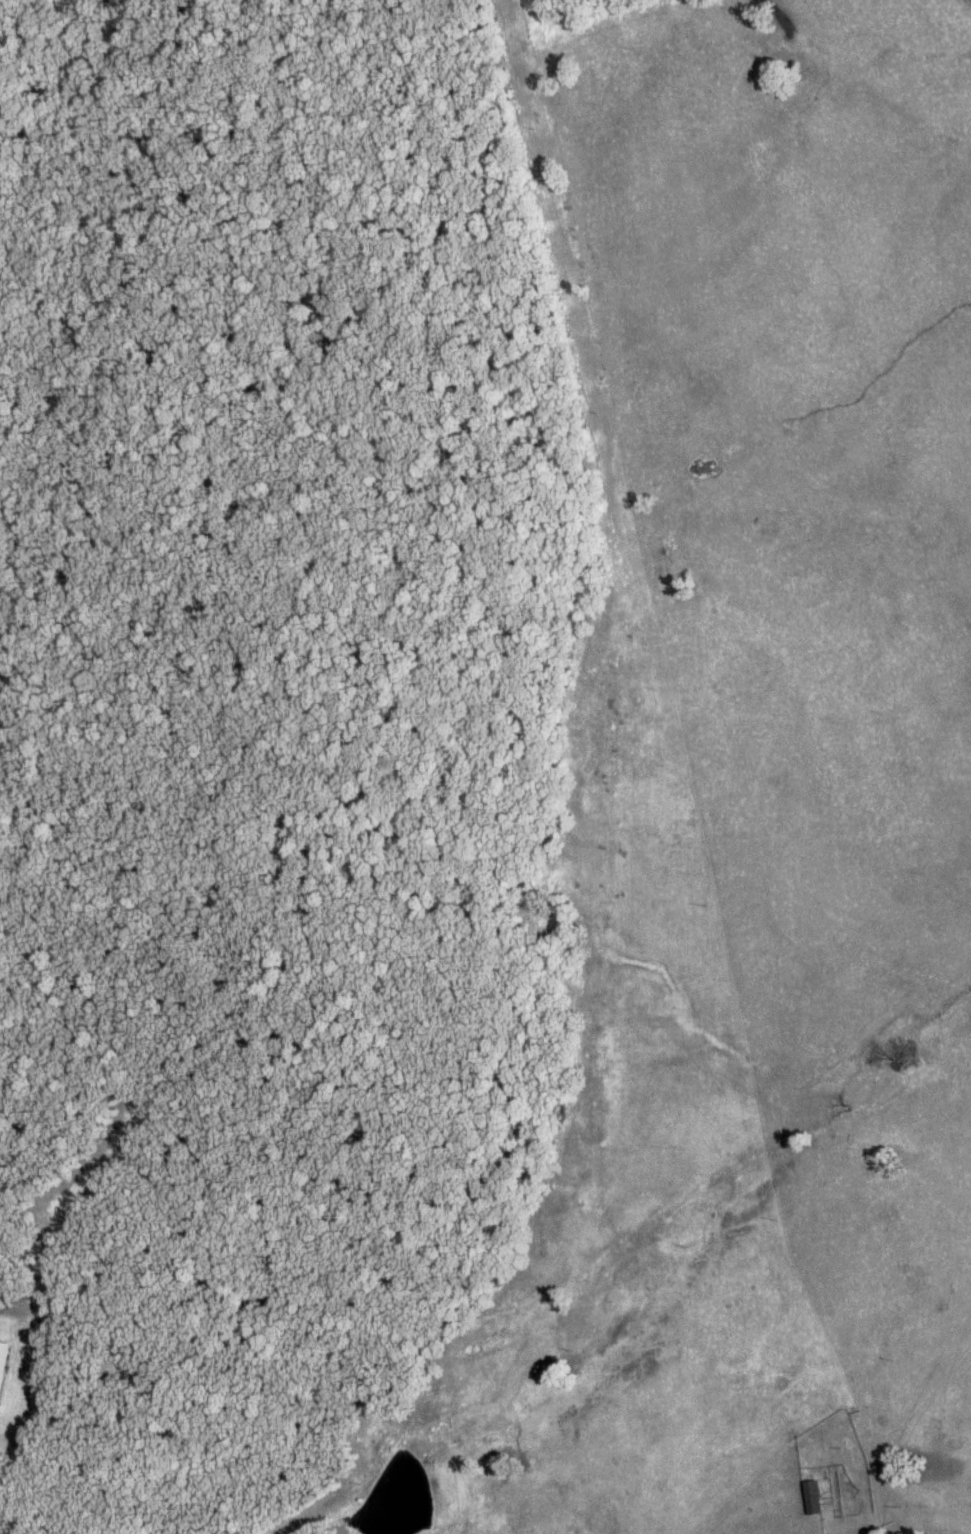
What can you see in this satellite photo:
building: (3, 1360)
road: (883, 1483)

